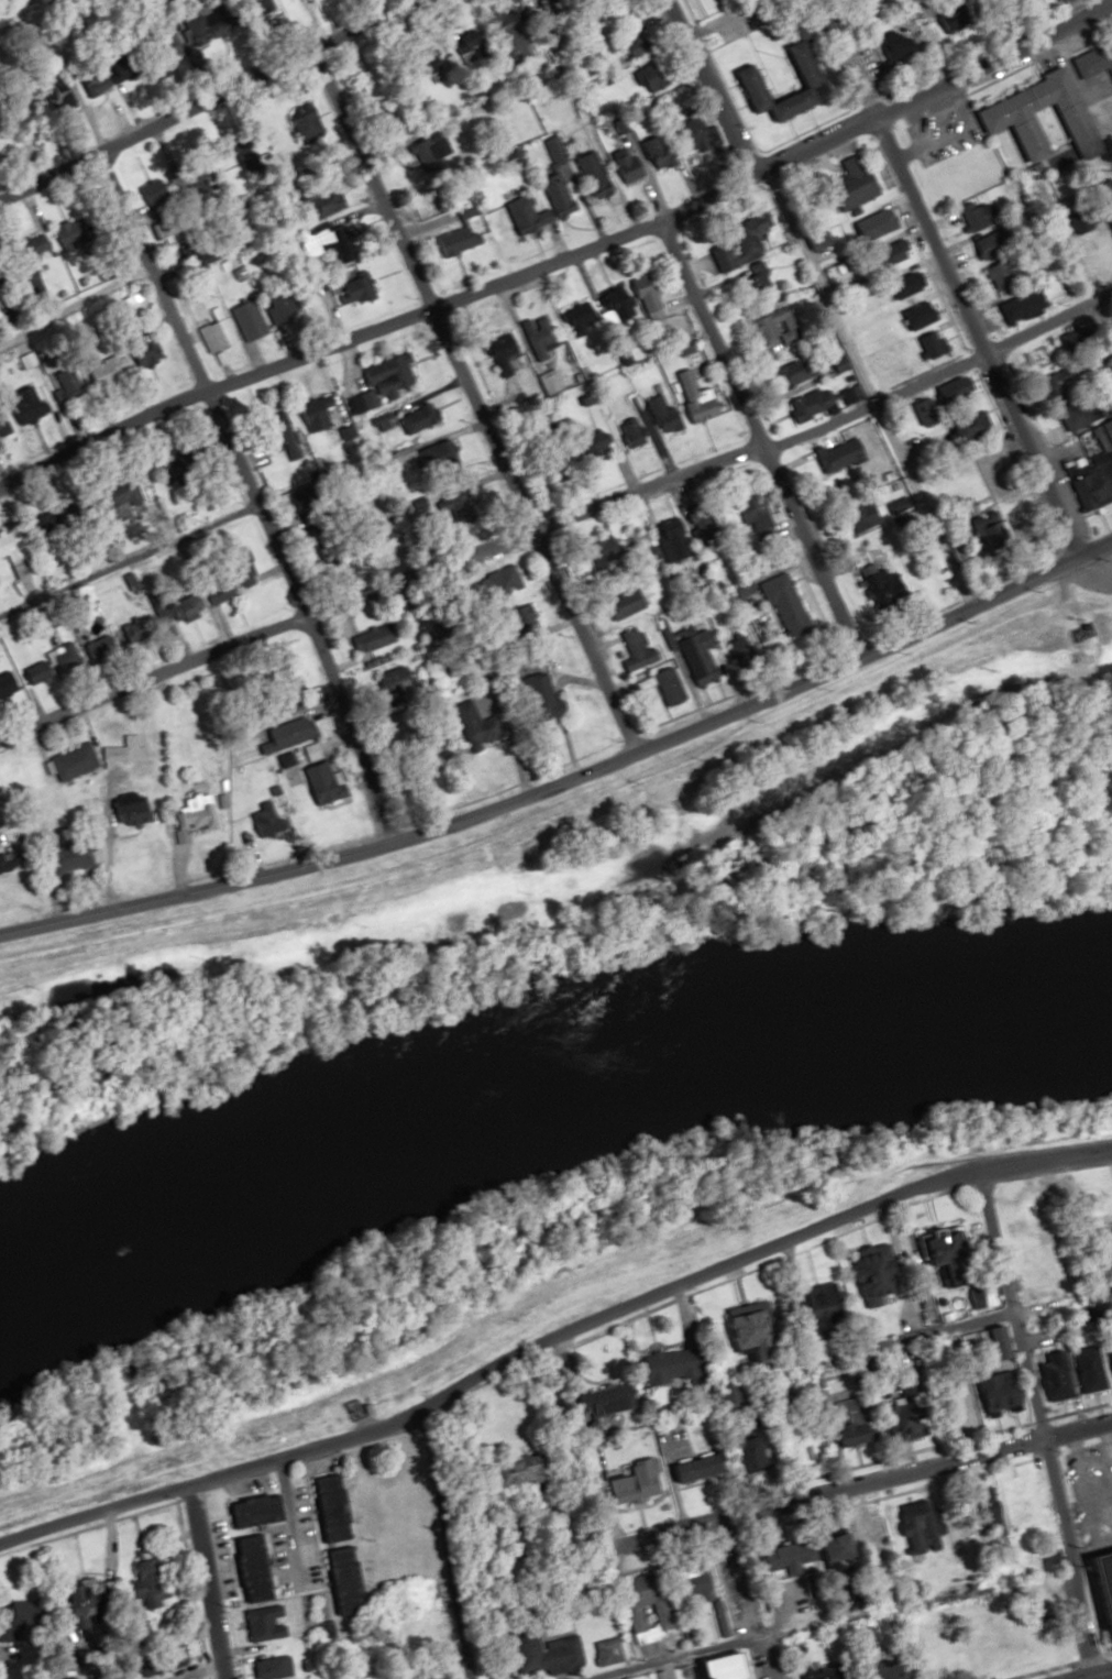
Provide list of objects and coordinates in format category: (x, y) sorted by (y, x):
building: (965, 23)
road: (998, 24)
building: (639, 47)
building: (1096, 61)
building: (816, 76)
building: (656, 79)
road: (196, 95)
building: (1013, 118)
building: (700, 135)
building: (634, 167)
building: (596, 174)
building: (180, 178)
building: (858, 183)
building: (563, 199)
building: (980, 215)
building: (881, 223)
building: (77, 233)
building: (324, 240)
road: (1067, 244)
building: (745, 245)
building: (990, 245)
building: (40, 246)
building: (900, 251)
road: (561, 256)
building: (1004, 274)
road: (949, 277)
building: (912, 284)
building: (363, 287)
building: (653, 295)
road: (75, 299)
road: (823, 304)
building: (1027, 305)
building: (283, 307)
building: (607, 312)
building: (923, 314)
building: (255, 319)
building: (778, 326)
building: (219, 336)
building: (546, 337)
building: (1080, 340)
building: (936, 343)
building: (148, 352)
building: (1043, 359)
building: (799, 370)
building: (387, 380)
building: (74, 385)
building: (961, 391)
road: (473, 395)
building: (702, 397)
building: (34, 402)
building: (816, 403)
building: (928, 411)
building: (1086, 413)
building: (668, 415)
building: (323, 419)
building: (422, 419)
building: (977, 424)
building: (3, 428)
road: (761, 440)
building: (436, 451)
building: (845, 453)
building: (177, 464)
building: (1093, 479)
road: (249, 487)
building: (130, 496)
building: (475, 508)
building: (867, 514)
building: (758, 517)
road: (560, 518)
building: (977, 525)
building: (681, 542)
building: (14, 544)
building: (25, 570)
building: (247, 573)
building: (511, 579)
building: (881, 586)
building: (223, 590)
building: (788, 599)
building: (184, 607)
building: (530, 616)
building: (147, 630)
building: (377, 637)
building: (107, 646)
building: (640, 650)
building: (745, 650)
building: (68, 657)
building: (706, 657)
building: (41, 671)
building: (399, 678)
building: (9, 683)
building: (673, 685)
building: (548, 698)
building: (482, 725)
building: (291, 734)
building: (77, 761)
road: (570, 776)
building: (328, 781)
building: (134, 809)
building: (198, 815)
building: (274, 815)
building: (73, 857)
river: (538, 1069)
building: (956, 1256)
road: (893, 1262)
road: (557, 1343)
road: (883, 1352)
building: (683, 1365)
building: (1107, 1367)
building: (1078, 1370)
building: (1052, 1381)
building: (1003, 1391)
building: (858, 1424)
road: (1034, 1425)
building: (761, 1455)
building: (704, 1468)
road: (850, 1480)
building: (640, 1482)
building: (1030, 1505)
building: (339, 1508)
building: (262, 1511)
road: (330, 1524)
building: (921, 1529)
road: (443, 1544)
building: (844, 1552)
building: (797, 1566)
building: (261, 1569)
building: (156, 1580)
road: (202, 1581)
building: (352, 1581)
building: (1097, 1584)
building: (701, 1587)
road: (74, 1600)
building: (89, 1600)
building: (668, 1615)
building: (269, 1623)
building: (610, 1651)
building: (553, 1654)
building: (277, 1667)
building: (736, 1667)
road: (179, 1668)
building: (830, 1671)
road: (1094, 1675)
building: (910, 1676)

